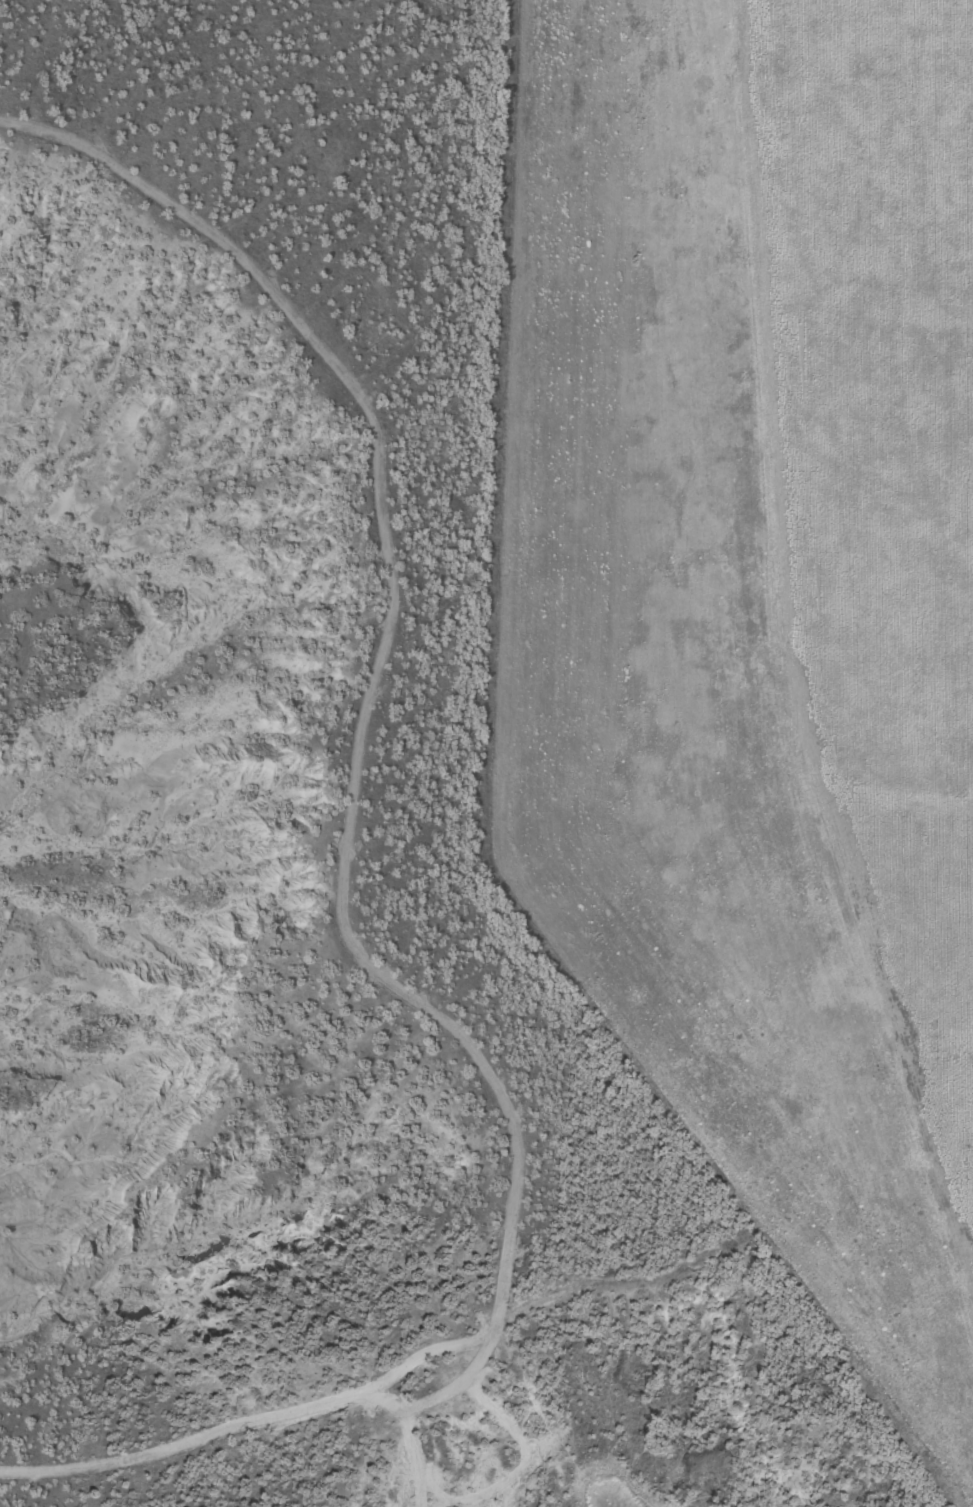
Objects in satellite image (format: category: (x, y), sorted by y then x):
road: (504, 1315)

